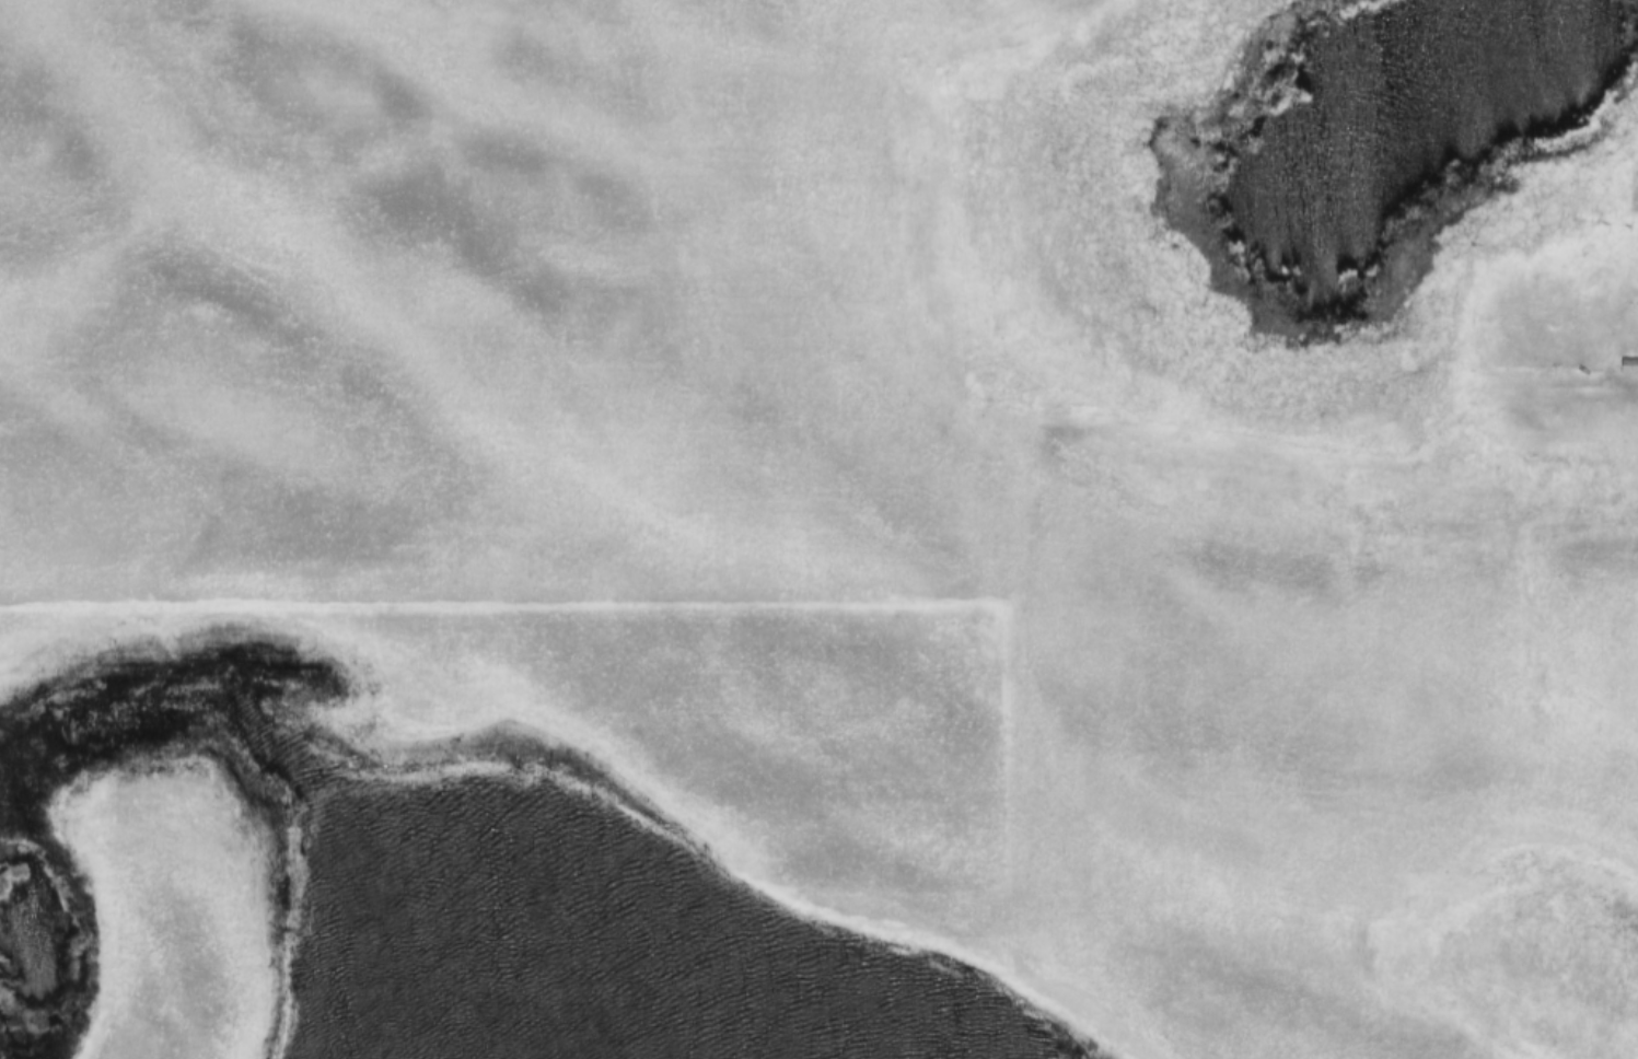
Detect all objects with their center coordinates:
building: (1628, 368)

